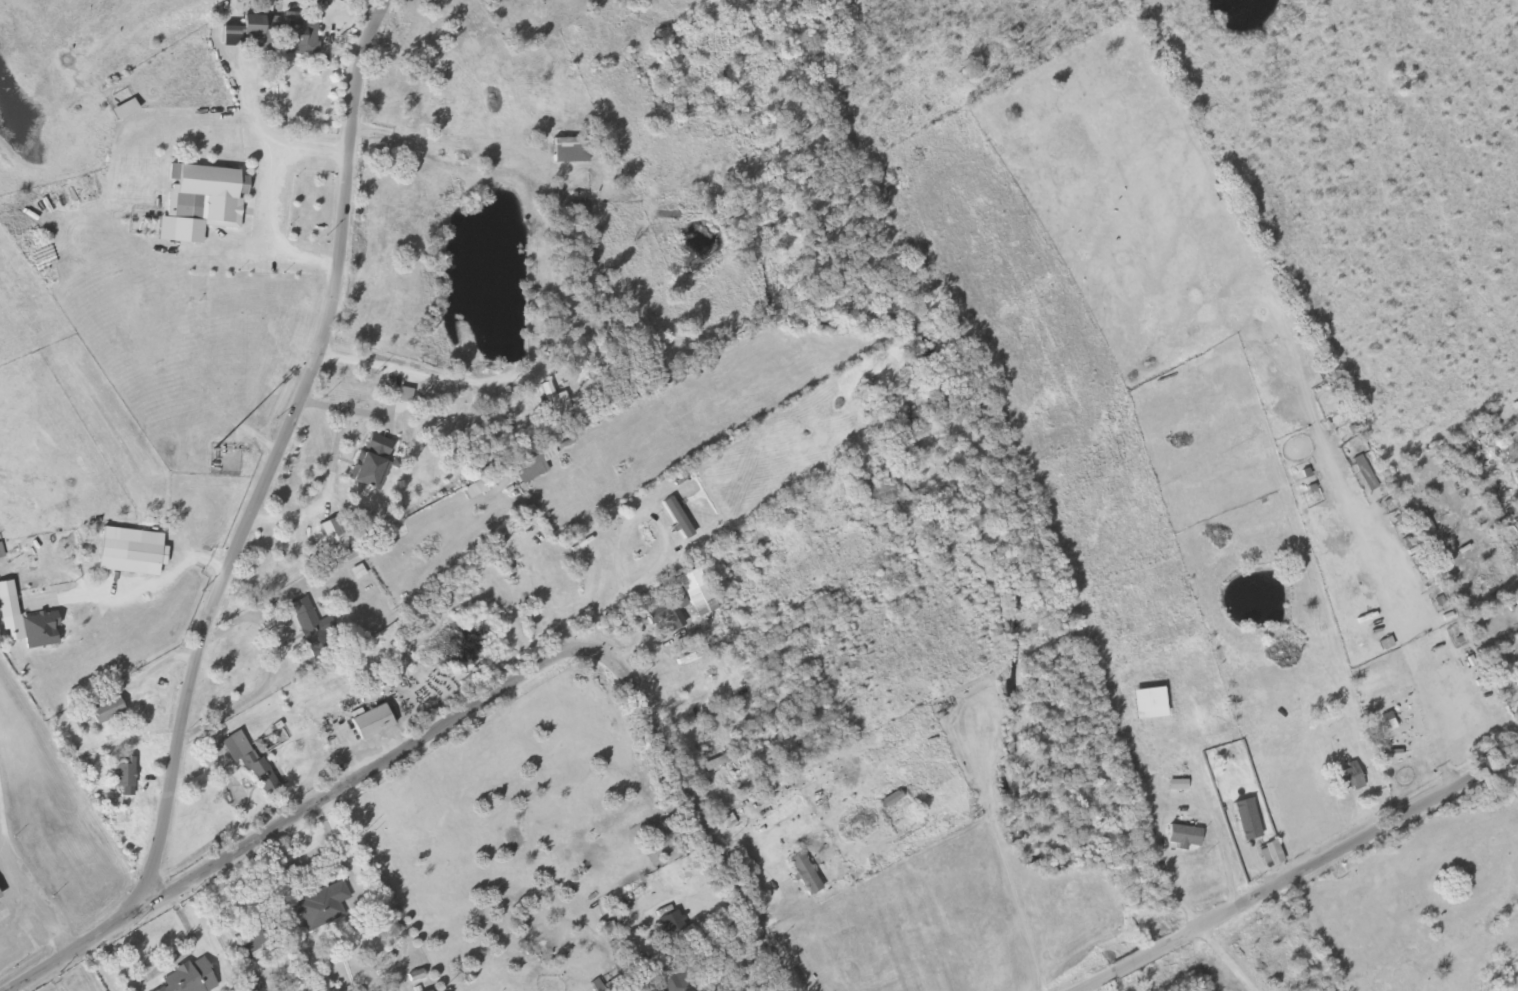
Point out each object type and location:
building: (259, 26)
building: (305, 37)
building: (570, 149)
building: (207, 186)
building: (581, 210)
building: (550, 399)
road: (282, 450)
building: (373, 462)
building: (532, 464)
road: (1144, 475)
building: (331, 530)
building: (585, 541)
building: (1, 551)
building: (133, 551)
building: (701, 600)
building: (8, 607)
building: (309, 623)
building: (1509, 645)
building: (1326, 698)
road: (473, 705)
building: (107, 710)
building: (371, 722)
building: (893, 733)
building: (725, 759)
building: (253, 763)
building: (124, 773)
building: (1348, 778)
building: (891, 799)
building: (1181, 812)
building: (955, 822)
building: (1184, 835)
building: (1273, 853)
building: (804, 874)
road: (1305, 876)
building: (322, 906)
building: (671, 923)
building: (252, 938)
building: (190, 978)

